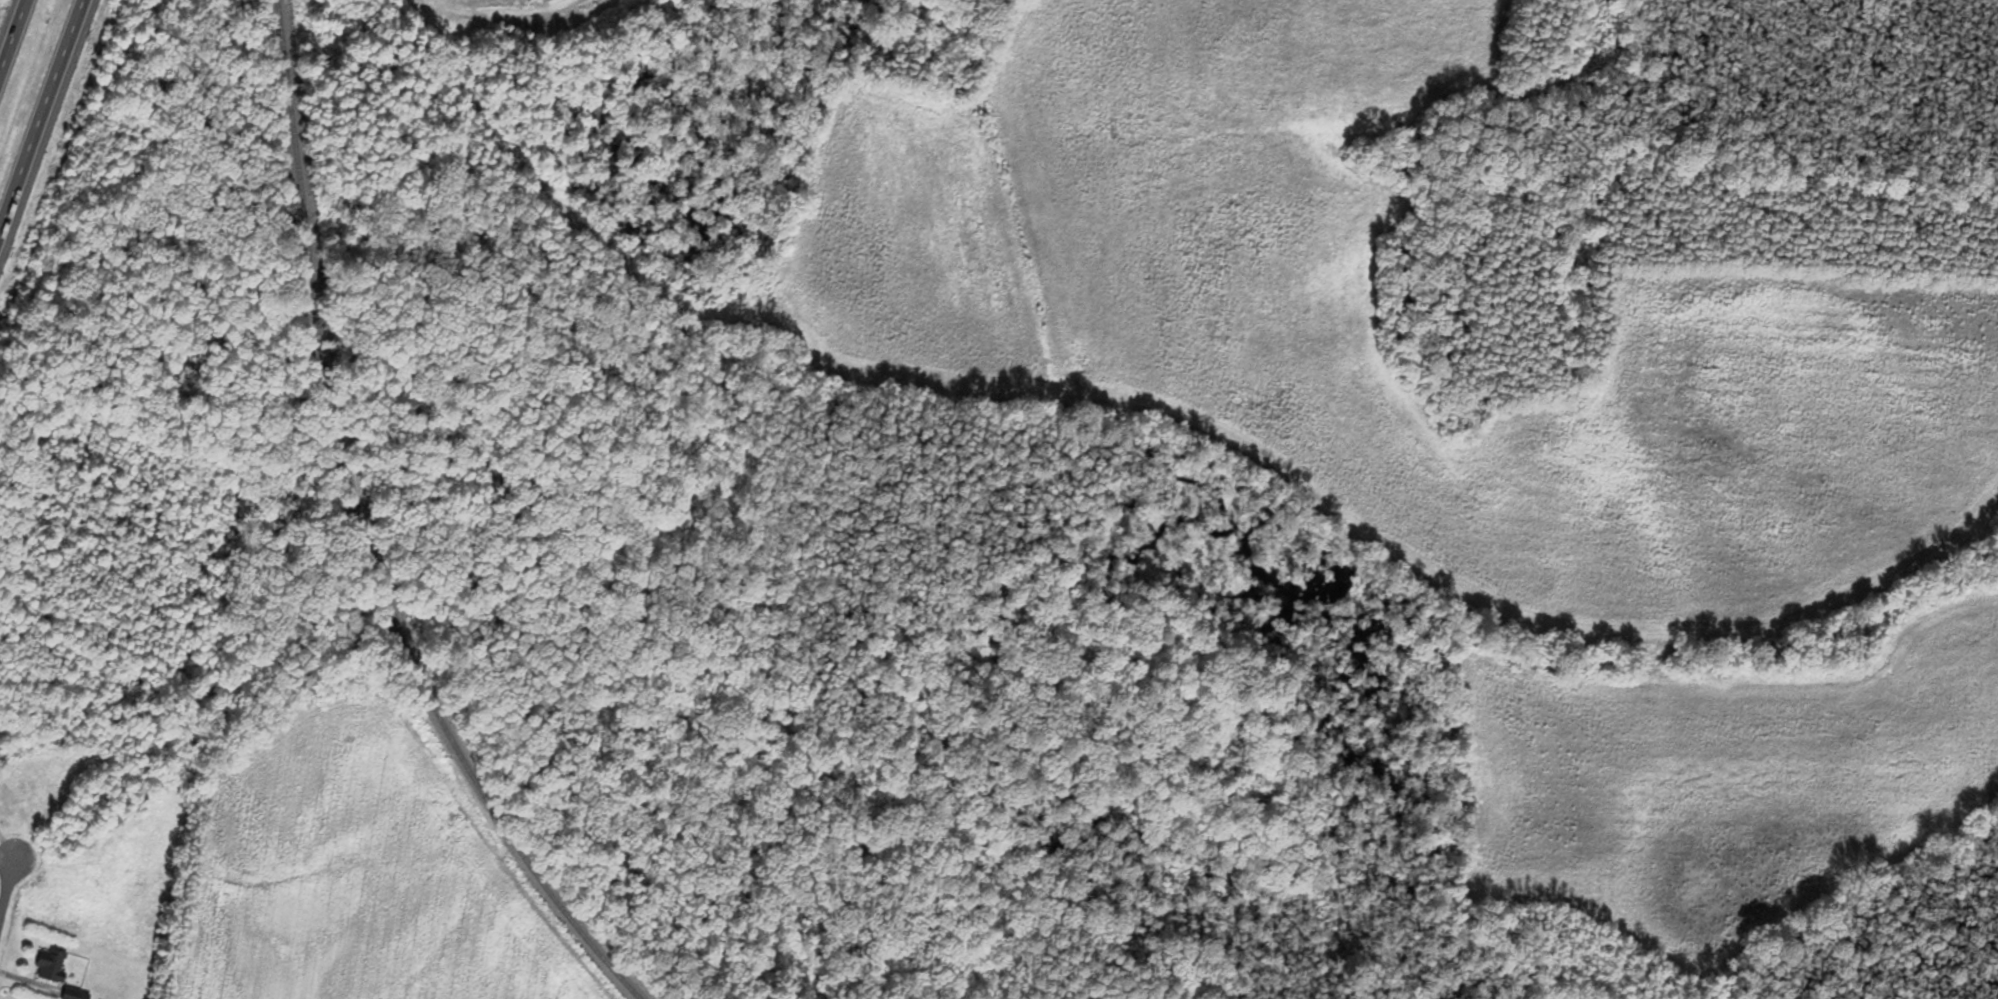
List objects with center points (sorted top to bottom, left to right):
road: (12, 36)
road: (42, 118)
railway: (362, 536)
road: (8, 882)
building: (51, 966)
building: (71, 995)

